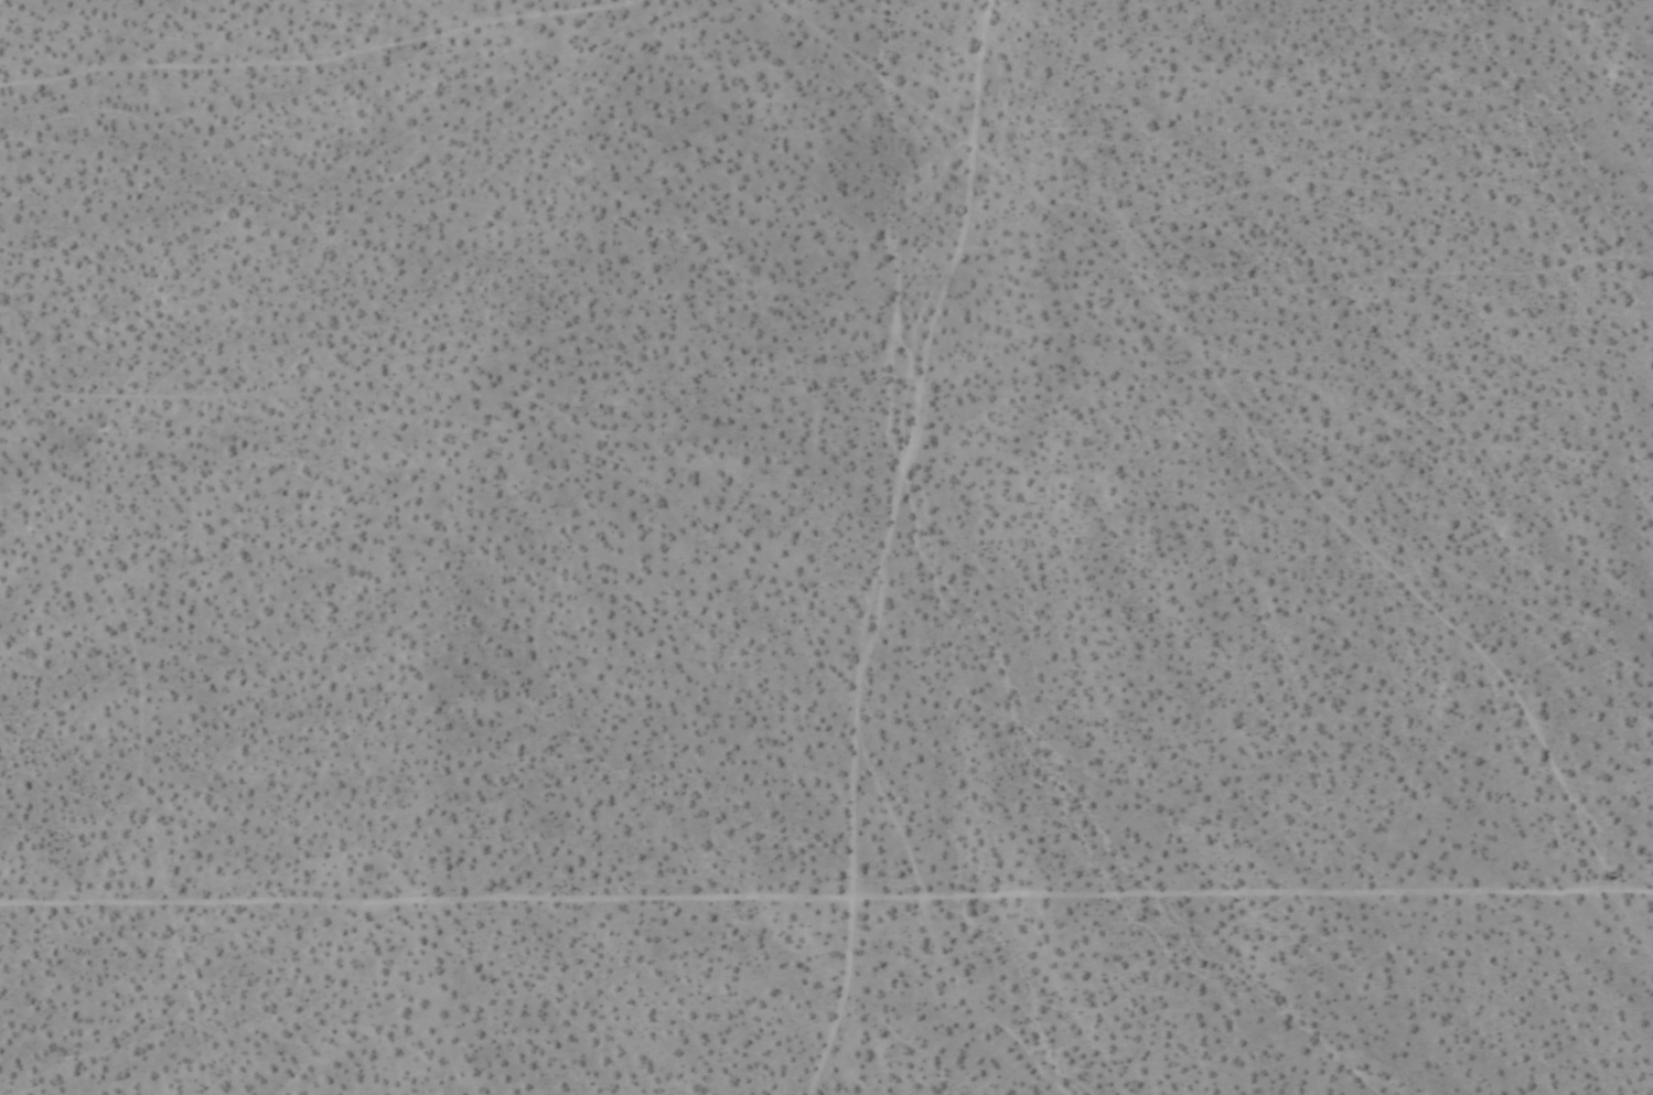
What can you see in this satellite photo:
crop: (826, 547)

